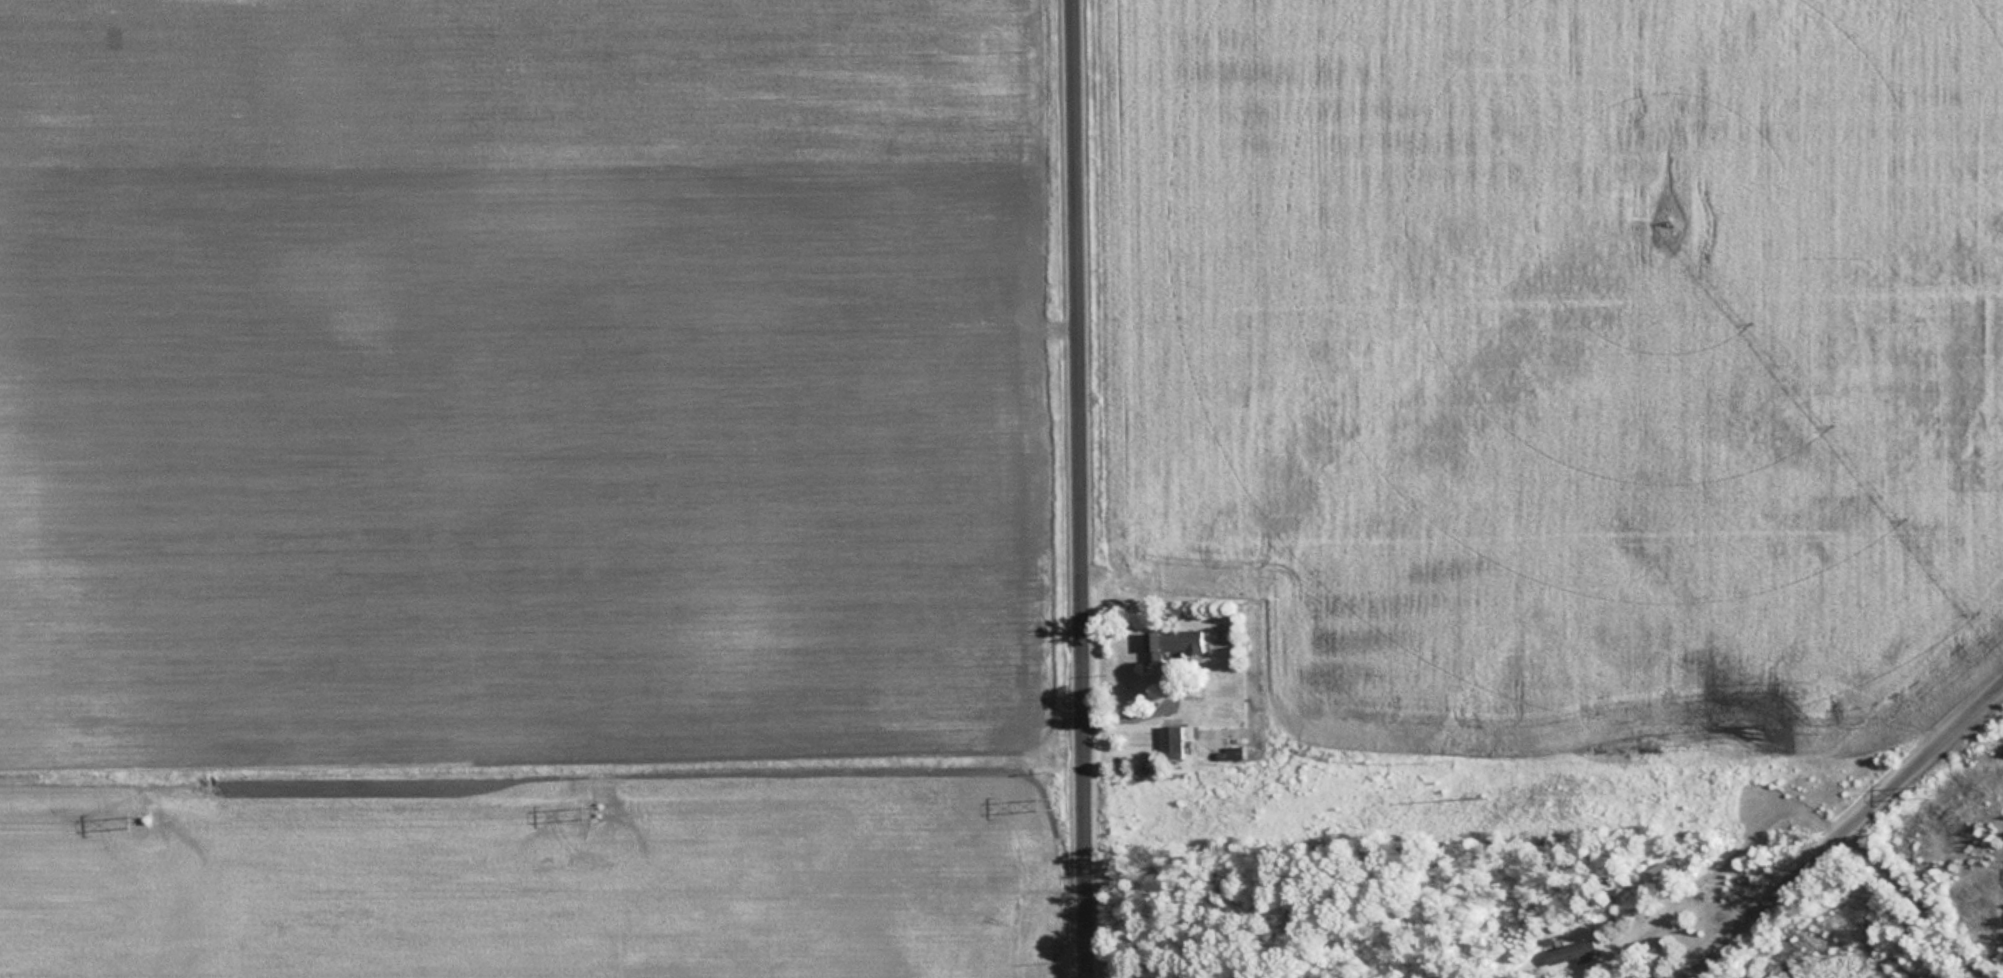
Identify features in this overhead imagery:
road: (1080, 489)
building: (1170, 643)
building: (1169, 741)
power tower: (1936, 787)
power tower: (1487, 793)
power tower: (1060, 802)
power tower: (607, 811)
power tower: (154, 821)
road: (1844, 833)
road: (1899, 900)
building: (1573, 951)

